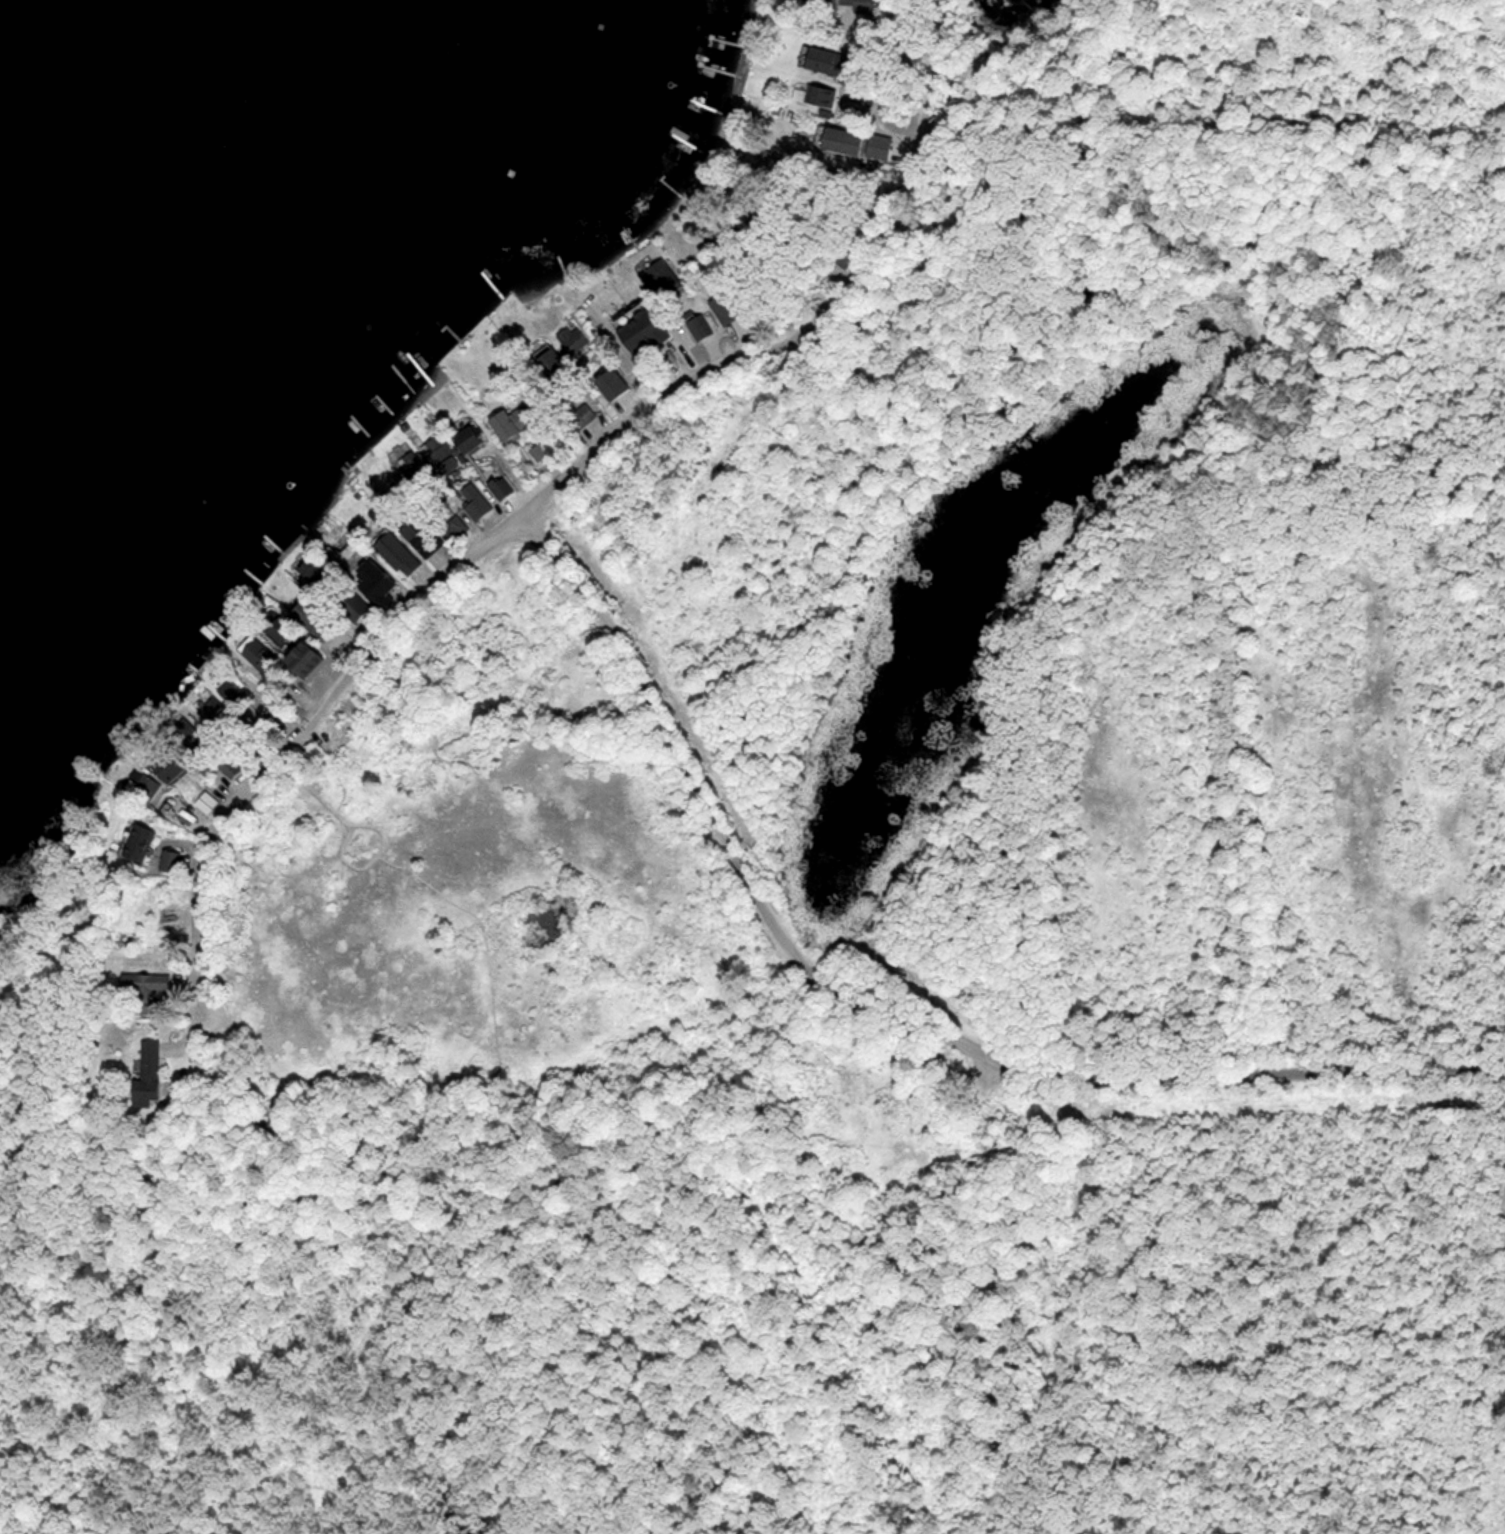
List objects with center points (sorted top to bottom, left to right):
building: (820, 9)
building: (824, 62)
building: (817, 95)
building: (837, 141)
building: (875, 148)
building: (729, 307)
building: (699, 324)
building: (647, 331)
building: (572, 339)
building: (559, 369)
building: (618, 383)
building: (585, 414)
building: (511, 422)
building: (470, 439)
building: (441, 453)
building: (416, 471)
building: (502, 487)
road: (552, 488)
building: (457, 526)
building: (426, 537)
building: (401, 554)
building: (315, 570)
building: (380, 580)
building: (358, 606)
building: (316, 618)
building: (259, 659)
building: (231, 692)
building: (210, 708)
building: (169, 765)
building: (231, 766)
building: (142, 784)
building: (208, 802)
building: (141, 841)
building: (173, 860)
road: (754, 876)
park: (880, 899)
building: (148, 989)
road: (1309, 1072)
building: (149, 1074)

